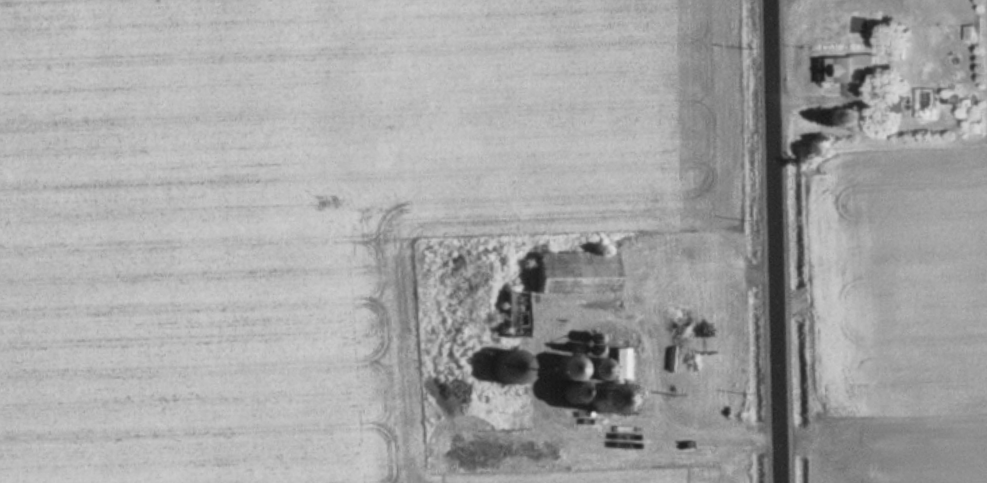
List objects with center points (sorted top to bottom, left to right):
building: (848, 69)
road: (777, 241)
building: (578, 271)
building: (518, 313)

